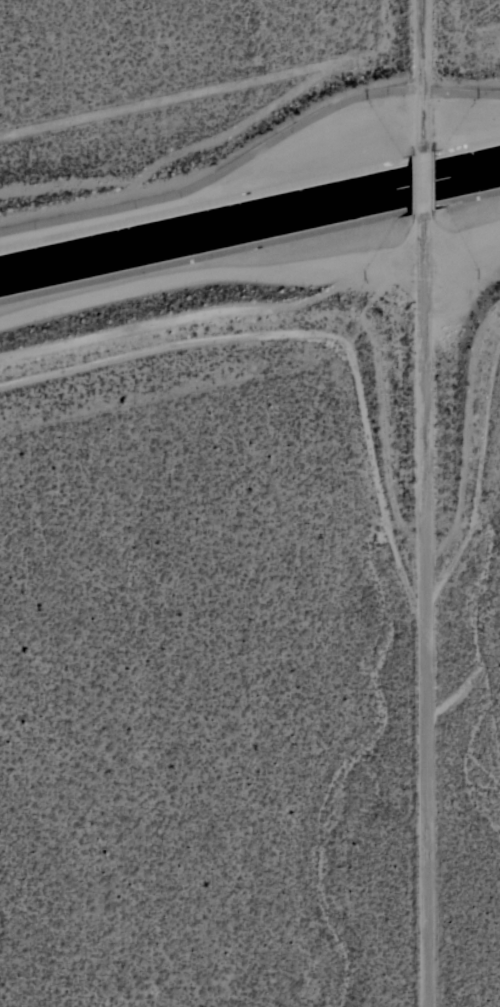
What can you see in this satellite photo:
road: (426, 71)
road: (426, 176)
road: (425, 609)

